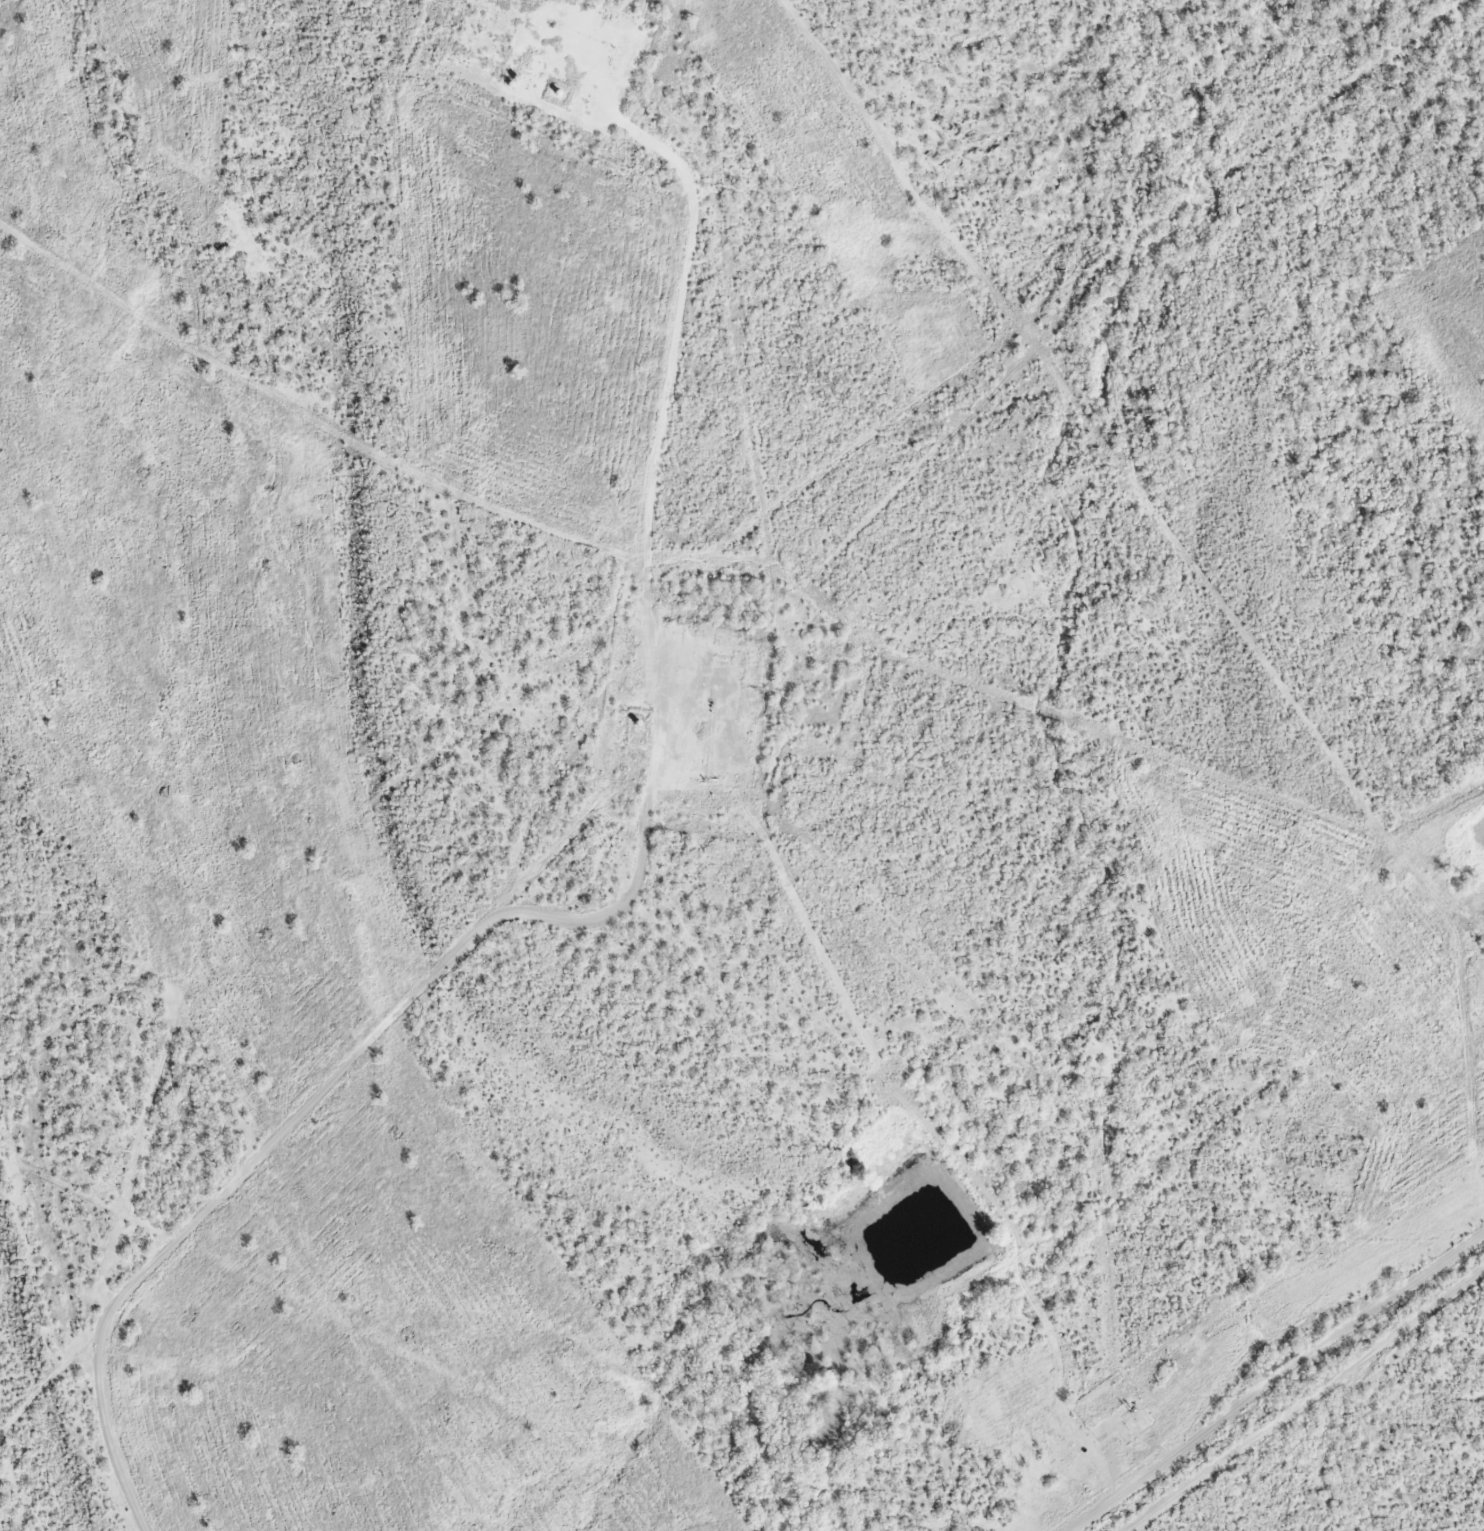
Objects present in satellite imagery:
road: (1274, 1377)
road: (1329, 1415)

